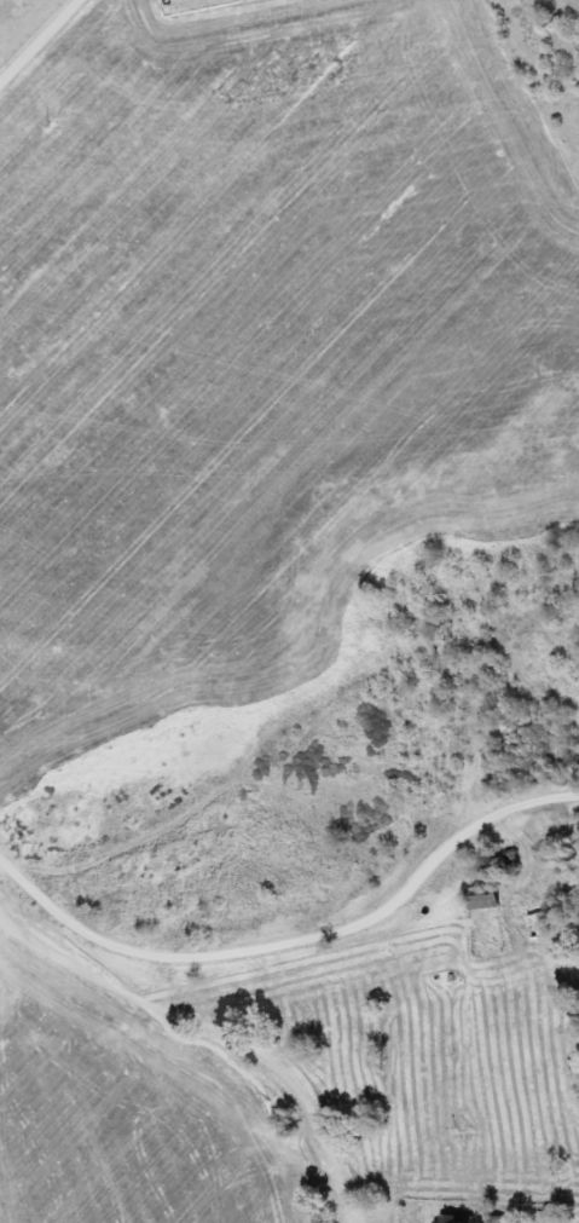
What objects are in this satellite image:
road: (37, 40)
building: (487, 899)
road: (363, 922)
building: (539, 923)
road: (210, 1016)
road: (346, 1021)
building: (456, 1218)

